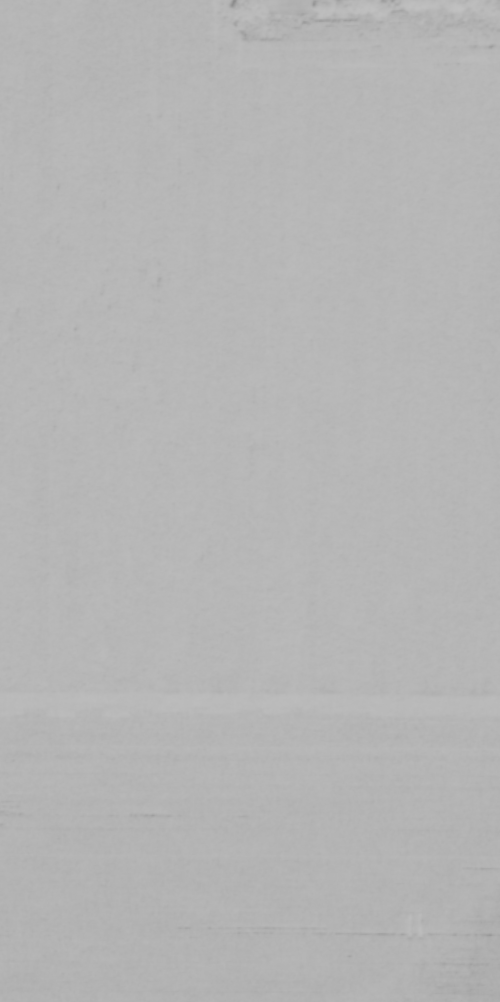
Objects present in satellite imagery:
crop: (249, 504)

